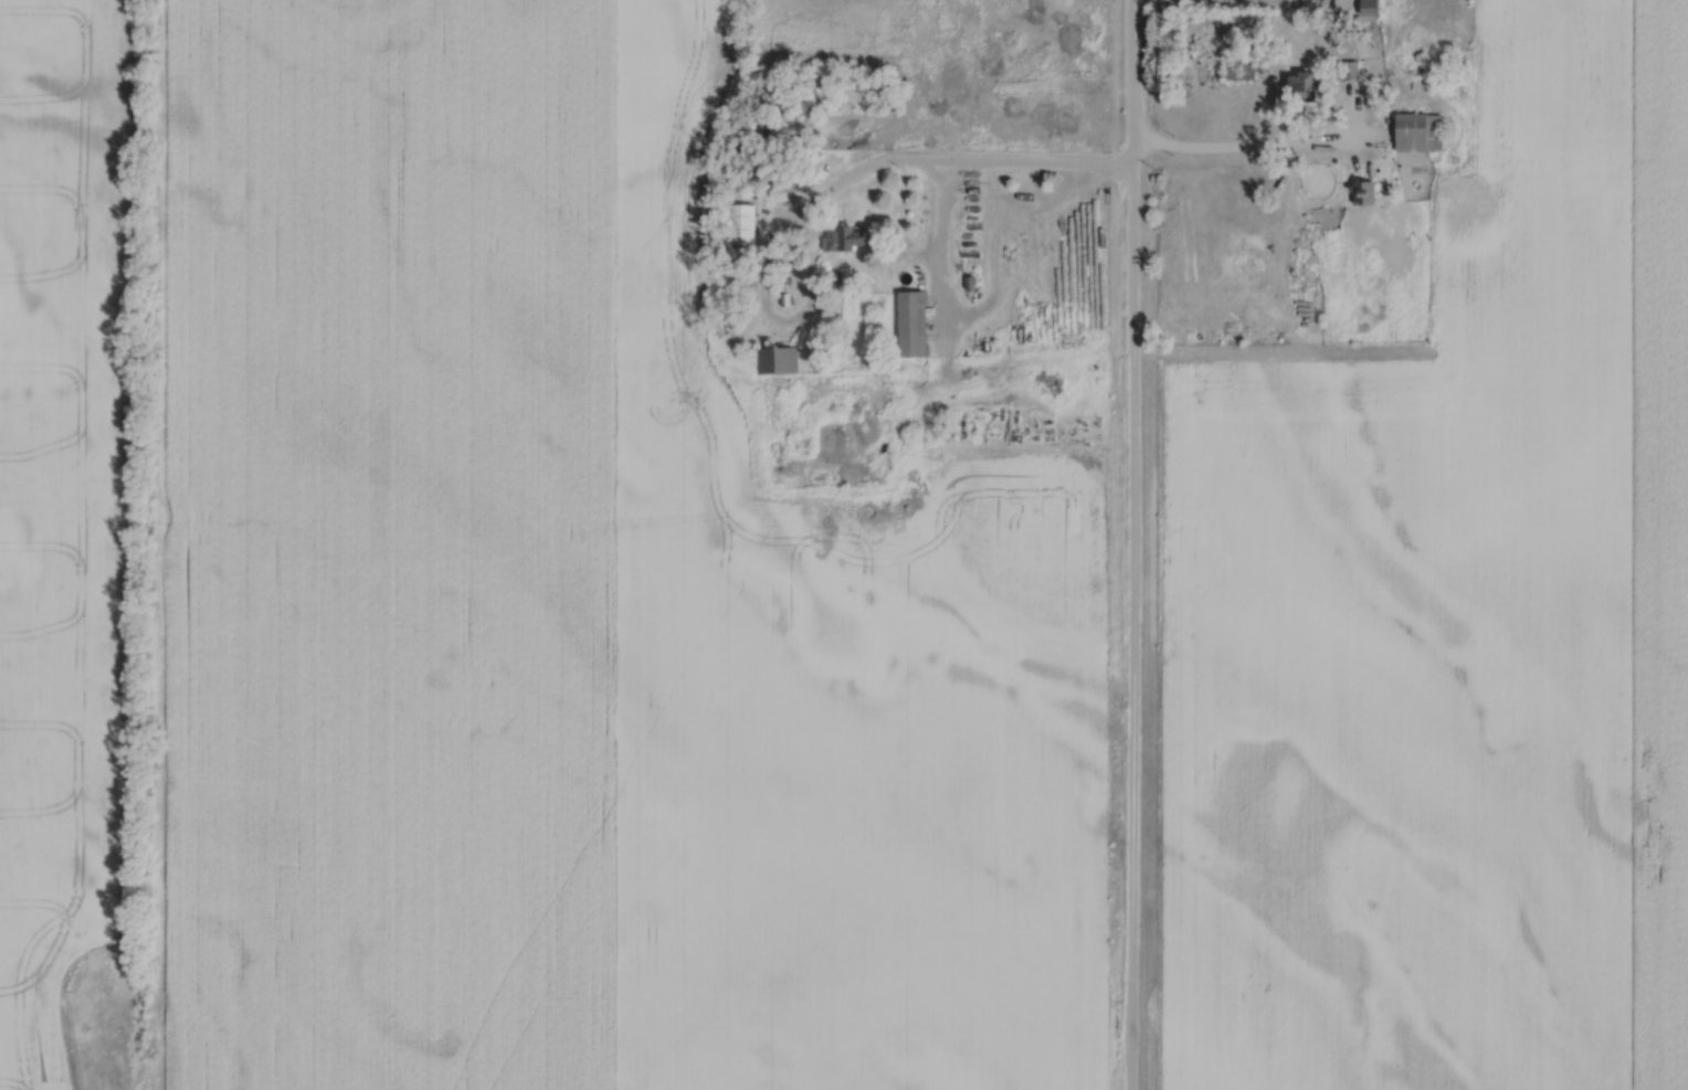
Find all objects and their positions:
building: (1370, 7)
building: (1350, 70)
building: (1239, 71)
building: (1306, 86)
building: (1420, 130)
road: (1227, 149)
road: (953, 165)
building: (1364, 192)
road: (943, 221)
building: (741, 222)
building: (845, 237)
building: (912, 322)
building: (777, 360)
road: (1135, 544)

